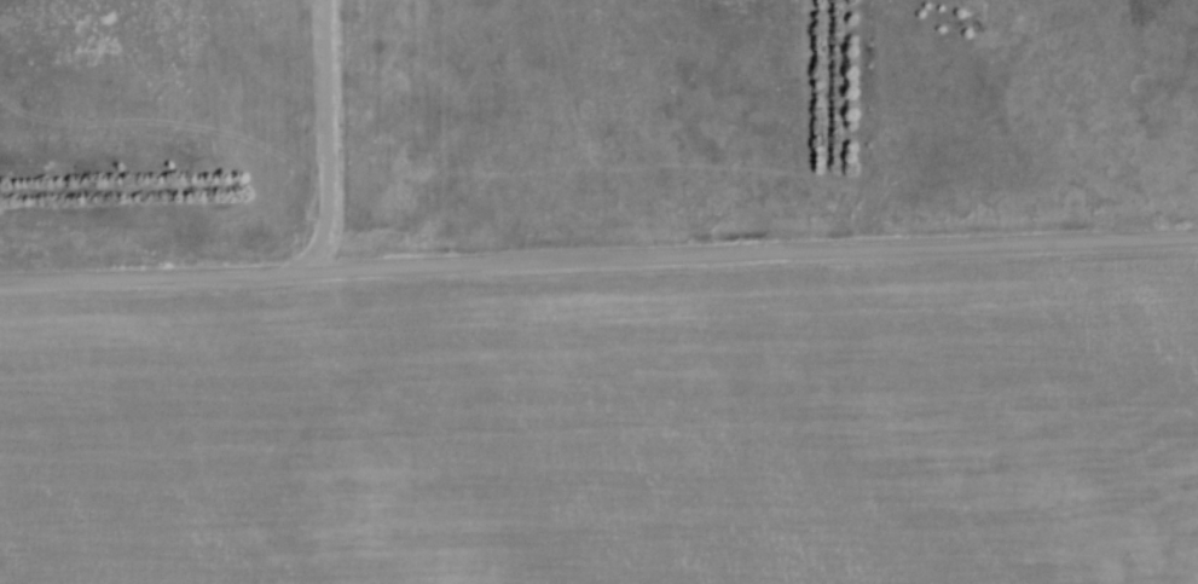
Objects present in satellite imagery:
road: (331, 139)
road: (598, 260)
crop: (614, 427)

